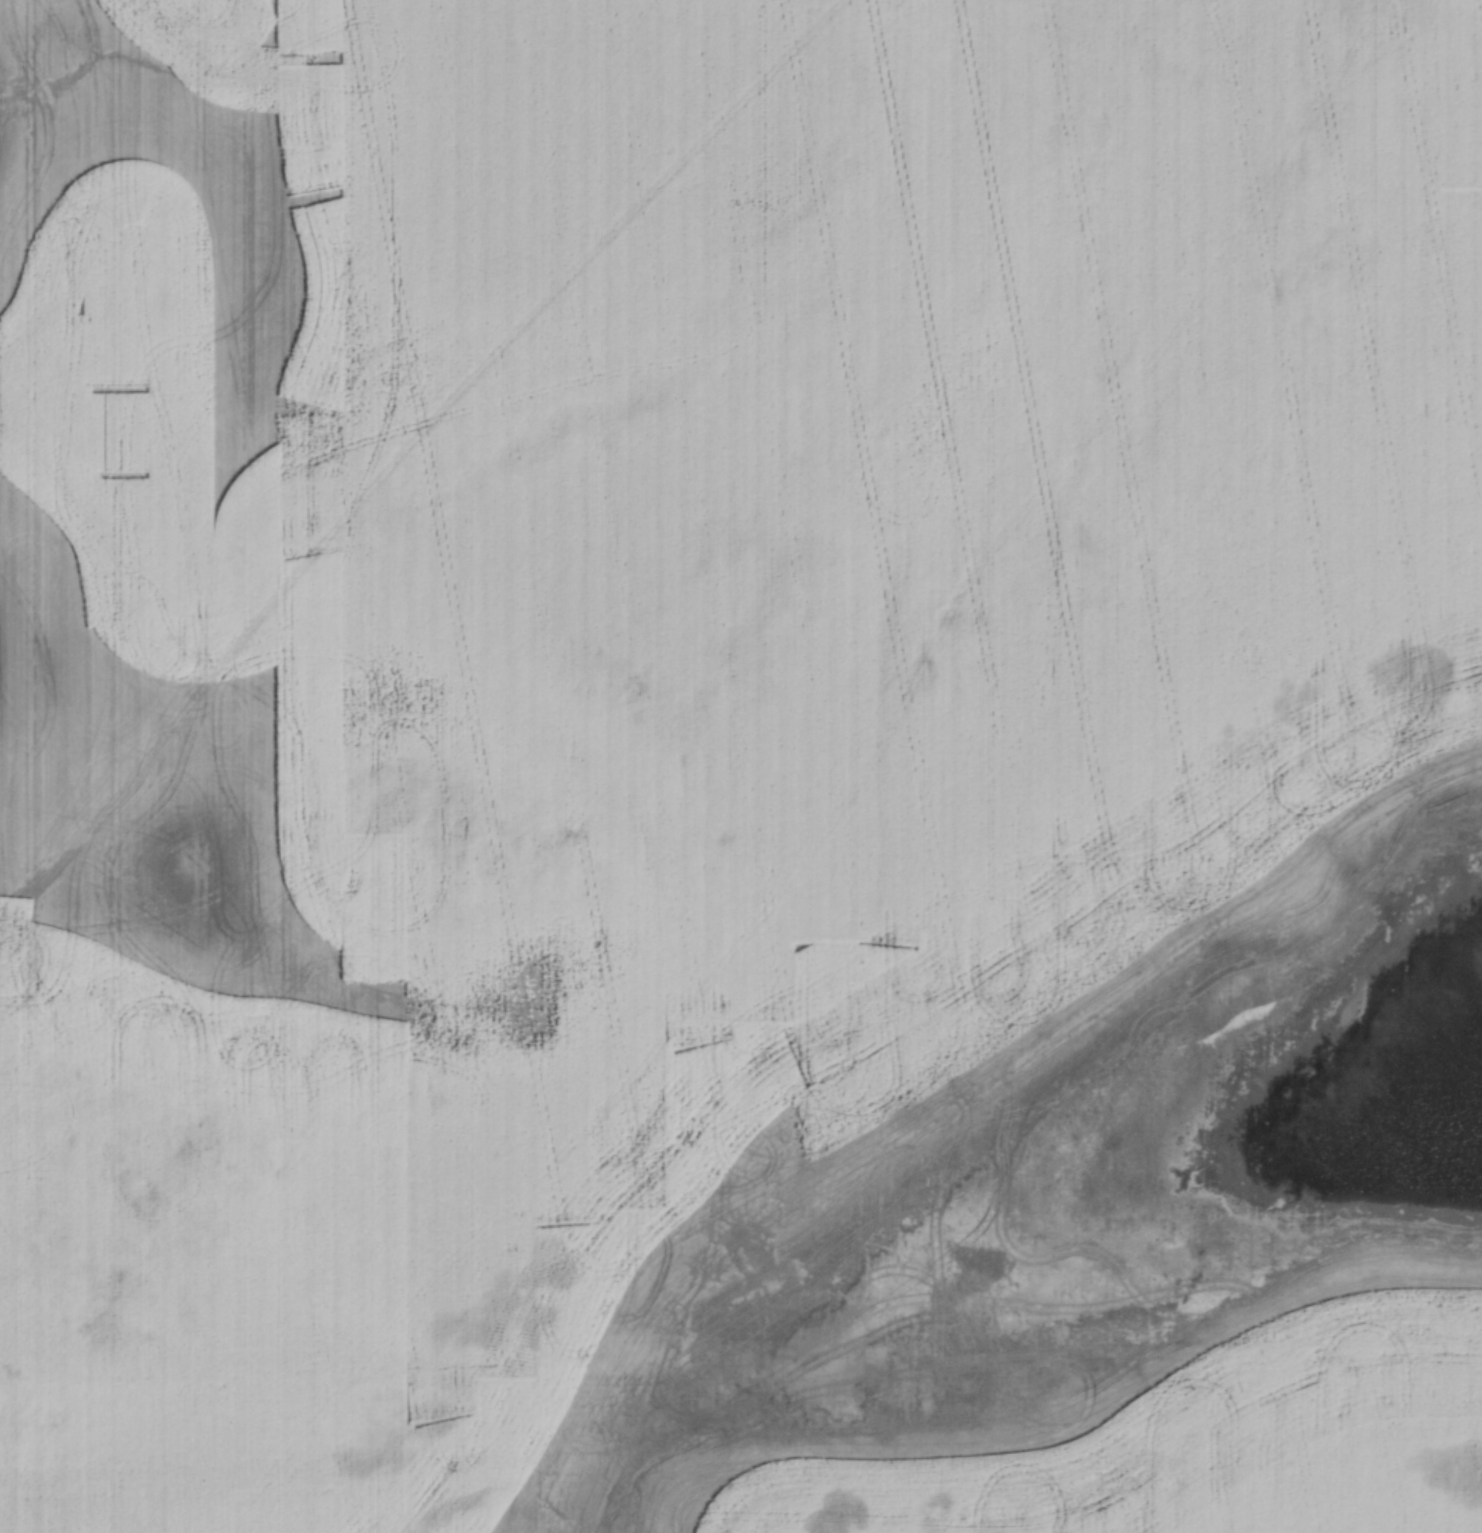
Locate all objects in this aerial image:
building: (3, 669)

